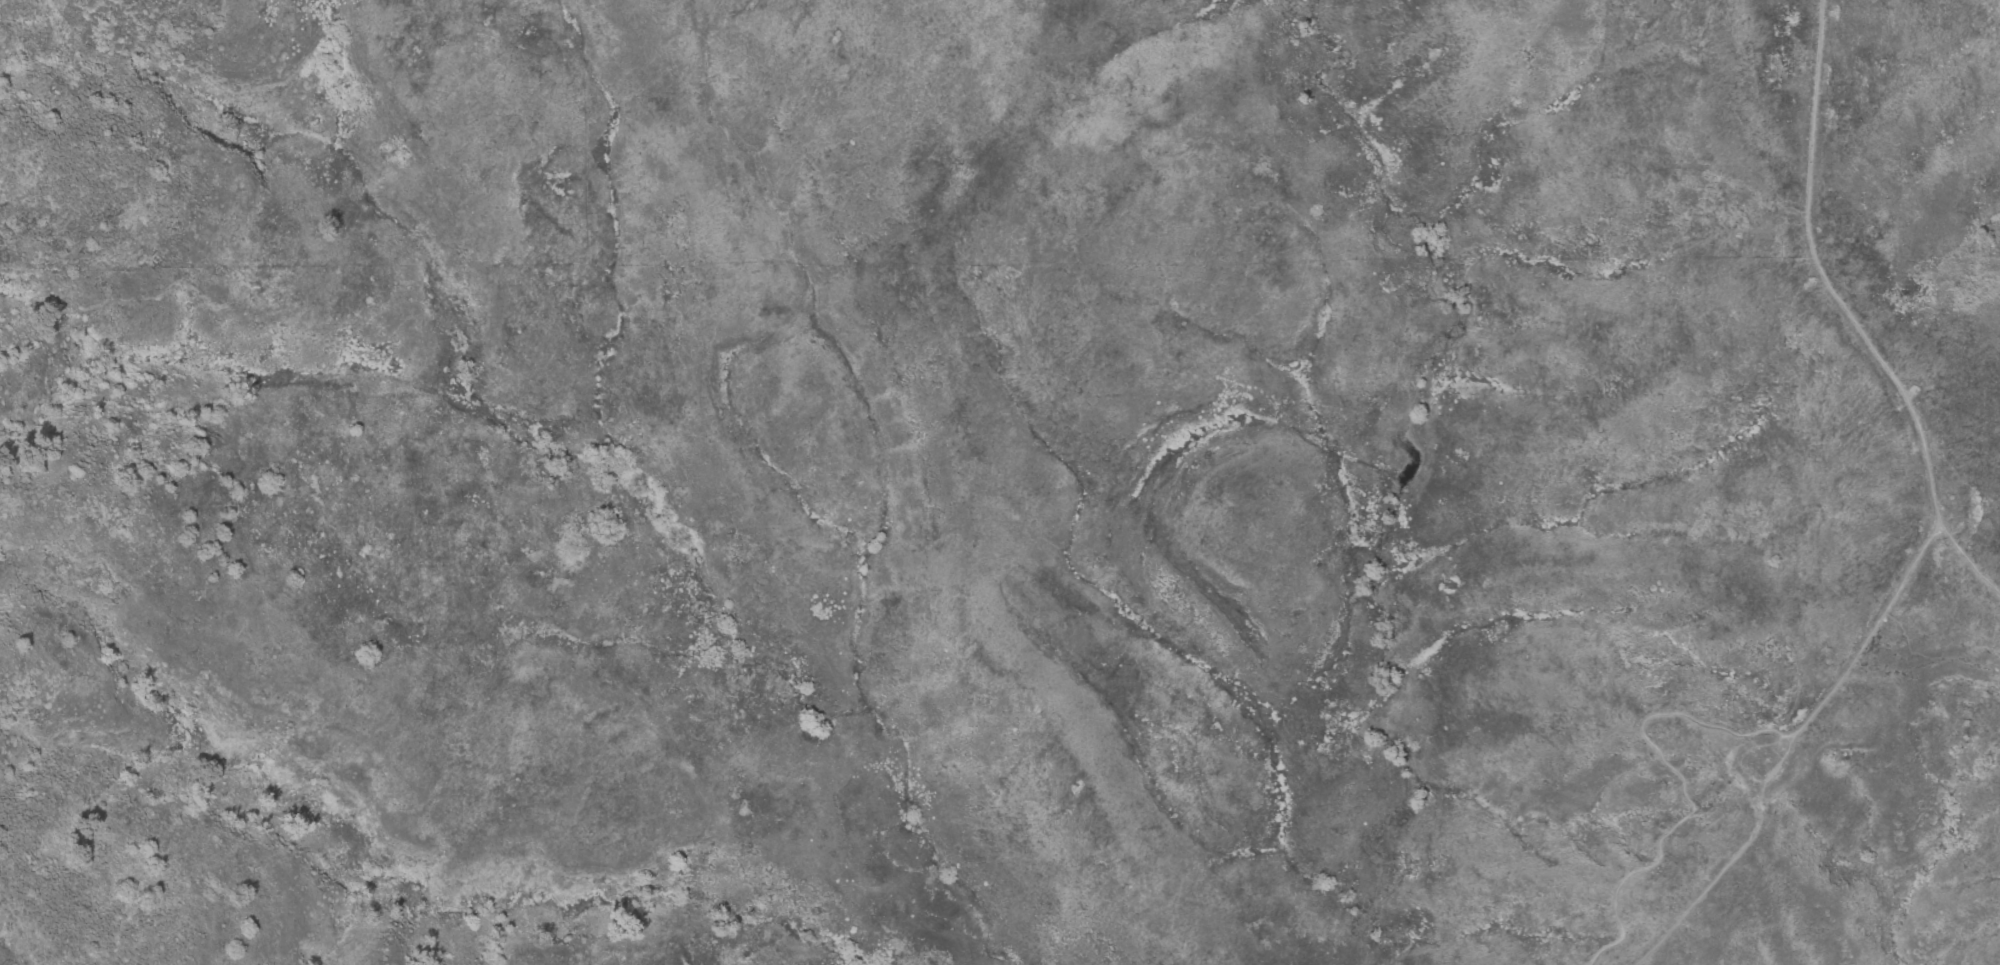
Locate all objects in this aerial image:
road: (1812, 111)
road: (1887, 366)
power tower: (1960, 501)
road: (1968, 561)
road: (1855, 654)
road: (1744, 753)
power tower: (1766, 765)
road: (1681, 784)
road: (1715, 880)

